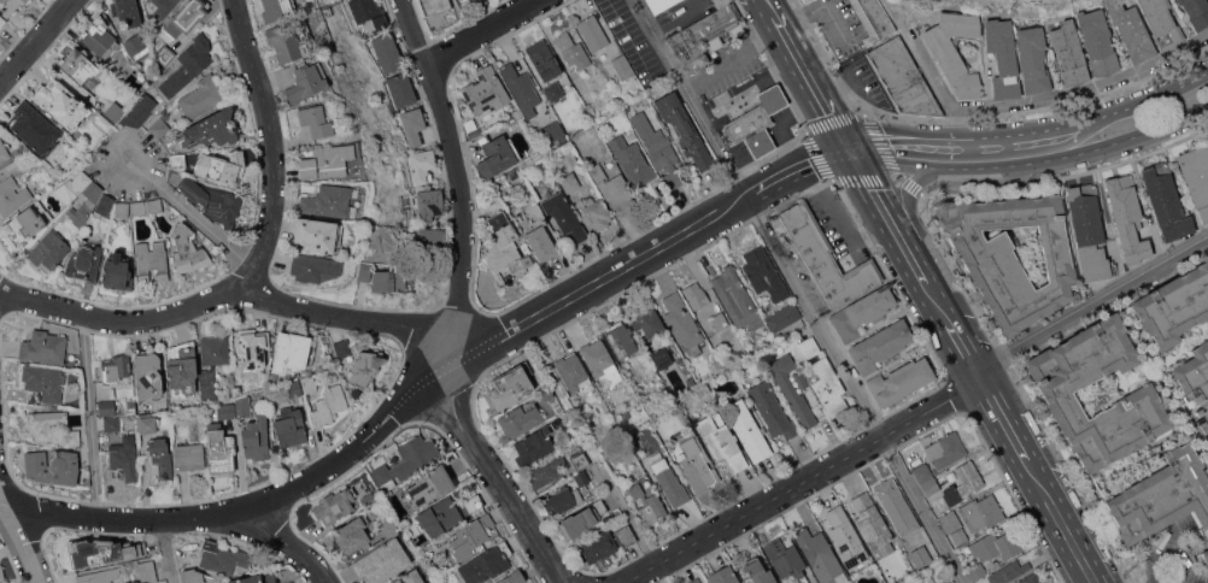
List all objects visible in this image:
building: (0, 0)
building: (24, 0)
building: (805, 0)
building: (721, 2)
building: (658, 4)
building: (435, 5)
building: (11, 6)
building: (160, 7)
building: (276, 8)
building: (127, 11)
building: (1196, 12)
building: (368, 14)
building: (873, 19)
building: (1, 20)
building: (1161, 23)
building: (180, 26)
road: (480, 31)
building: (1132, 31)
building: (593, 33)
building: (99, 36)
building: (705, 37)
building: (288, 40)
building: (1097, 41)
road: (36, 42)
road: (791, 45)
building: (136, 46)
building: (573, 49)
building: (954, 51)
building: (387, 52)
building: (1069, 53)
building: (1002, 57)
building: (544, 59)
building: (1033, 59)
building: (188, 65)
building: (622, 65)
building: (80, 67)
building: (119, 67)
building: (903, 77)
building: (306, 81)
building: (581, 84)
road: (942, 86)
building: (521, 88)
road: (750, 88)
building: (401, 89)
building: (485, 90)
building: (553, 90)
building: (735, 92)
building: (201, 96)
building: (61, 102)
building: (115, 111)
building: (139, 111)
building: (512, 113)
building: (316, 120)
building: (102, 122)
building: (757, 122)
road: (831, 122)
building: (28, 123)
road: (1073, 123)
road: (779, 124)
building: (414, 125)
road: (867, 126)
building: (159, 128)
building: (471, 128)
building: (211, 129)
building: (684, 129)
building: (553, 131)
building: (63, 139)
road: (889, 142)
road: (274, 146)
building: (658, 148)
road: (1086, 152)
traffic signals: (849, 153)
building: (497, 155)
building: (7, 158)
building: (177, 160)
building: (327, 160)
building: (632, 160)
road: (903, 161)
building: (422, 164)
building: (222, 166)
building: (1196, 176)
building: (569, 181)
building: (72, 187)
building: (614, 189)
building: (12, 196)
road: (909, 196)
building: (211, 199)
building: (1166, 200)
building: (330, 201)
building: (86, 204)
building: (154, 204)
building: (429, 204)
road: (878, 204)
building: (104, 206)
building: (137, 207)
building: (122, 208)
building: (598, 213)
road: (195, 214)
building: (564, 214)
building: (1127, 217)
building: (25, 224)
building: (1089, 230)
building: (317, 234)
building: (430, 238)
building: (502, 242)
building: (541, 243)
building: (49, 249)
building: (188, 249)
building: (1011, 254)
building: (823, 255)
building: (152, 260)
building: (527, 260)
building: (84, 261)
building: (315, 267)
building: (365, 271)
building: (118, 272)
building: (763, 272)
building: (388, 279)
road: (923, 282)
road: (799, 291)
road: (224, 294)
building: (696, 294)
building: (737, 298)
road: (457, 304)
building: (1174, 306)
building: (862, 312)
building: (784, 316)
building: (720, 319)
building: (649, 322)
building: (682, 323)
building: (781, 335)
building: (620, 338)
road: (958, 343)
building: (880, 344)
building: (43, 346)
building: (342, 347)
building: (215, 348)
building: (253, 348)
building: (289, 352)
building: (597, 355)
building: (659, 358)
building: (365, 366)
building: (716, 366)
building: (116, 367)
building: (183, 367)
building: (574, 372)
building: (821, 373)
building: (147, 375)
road: (432, 376)
building: (272, 377)
building: (801, 378)
building: (901, 381)
building: (45, 382)
building: (309, 383)
building: (1195, 383)
building: (510, 384)
building: (293, 387)
building: (792, 389)
building: (209, 390)
building: (1140, 395)
building: (130, 404)
building: (328, 404)
building: (244, 406)
building: (106, 407)
building: (225, 408)
building: (772, 408)
building: (627, 413)
road: (914, 414)
road: (92, 417)
building: (518, 420)
building: (112, 422)
building: (45, 423)
building: (147, 423)
building: (289, 425)
building: (749, 430)
road: (1011, 432)
building: (71, 437)
building: (256, 437)
building: (721, 438)
building: (534, 444)
building: (945, 448)
building: (219, 449)
building: (189, 455)
building: (124, 458)
building: (406, 458)
building: (159, 460)
building: (580, 460)
building: (696, 461)
building: (53, 466)
building: (546, 470)
building: (922, 472)
building: (581, 477)
building: (669, 479)
building: (963, 481)
building: (428, 487)
building: (931, 487)
building: (1162, 495)
road: (1, 497)
building: (368, 499)
building: (562, 499)
building: (892, 499)
building: (474, 502)
building: (335, 503)
building: (649, 503)
building: (981, 511)
building: (438, 517)
building: (582, 518)
building: (870, 519)
building: (950, 520)
building: (387, 526)
building: (352, 534)
road: (20, 535)
building: (471, 535)
building: (958, 536)
road: (1071, 536)
building: (846, 538)
building: (606, 542)
road: (291, 543)
building: (996, 546)
building: (141, 548)
road: (1166, 550)
road: (168, 552)
building: (93, 553)
building: (785, 555)
building: (820, 555)
building: (1204, 555)
building: (223, 556)
building: (382, 560)
building: (487, 563)
building: (921, 563)
building: (975, 570)
building: (147, 571)
building: (758, 571)
building: (1008, 571)
building: (1, 572)
building: (193, 576)
building: (412, 576)
building: (723, 576)
building: (95, 577)
building: (512, 577)
building: (257, 578)
building: (1031, 578)
building: (397, 581)
building: (694, 581)
road: (1145, 581)
building: (209, 582)
building: (288, 582)
building: (949, 582)

